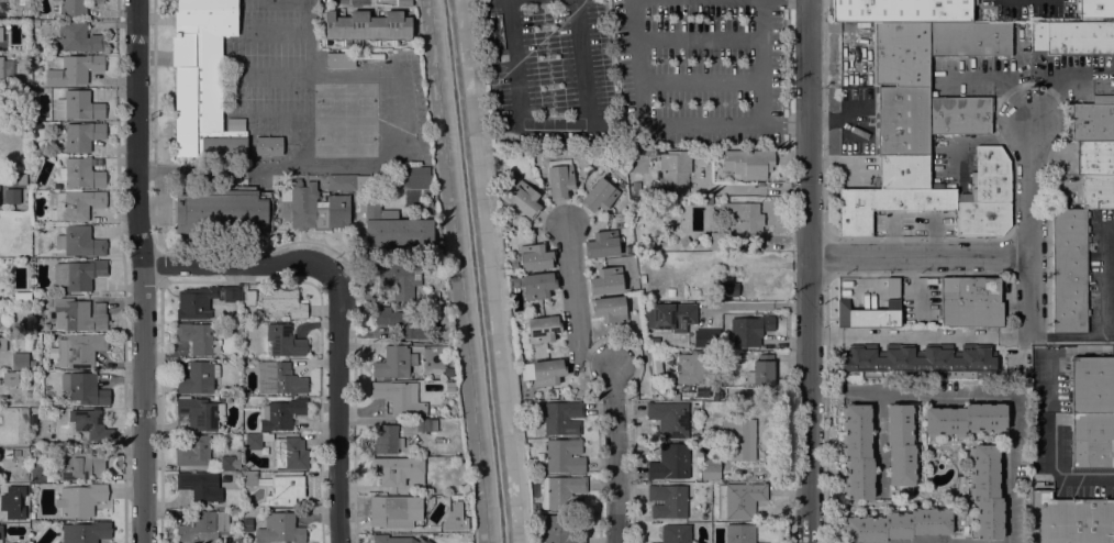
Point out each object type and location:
building: (21, 3)
building: (404, 3)
building: (75, 7)
parking lot: (1026, 8)
building: (1095, 9)
building: (901, 10)
building: (367, 26)
road: (153, 29)
road: (275, 30)
building: (1, 34)
building: (1072, 36)
building: (78, 37)
road: (699, 37)
building: (969, 38)
building: (902, 53)
road: (166, 58)
building: (342, 60)
road: (761, 63)
building: (74, 69)
building: (5, 70)
road: (307, 76)
road: (272, 78)
building: (204, 81)
road: (700, 81)
building: (79, 106)
building: (960, 115)
road: (644, 119)
building: (1093, 120)
building: (903, 121)
road: (279, 124)
road: (553, 126)
road: (784, 126)
building: (82, 136)
building: (268, 148)
building: (1094, 156)
building: (749, 163)
building: (675, 171)
building: (82, 173)
building: (904, 173)
building: (413, 178)
building: (560, 179)
building: (338, 182)
building: (360, 182)
building: (58, 187)
building: (1096, 190)
building: (430, 195)
building: (12, 196)
building: (600, 196)
building: (987, 197)
building: (27, 198)
building: (524, 199)
building: (701, 201)
building: (76, 204)
building: (887, 206)
building: (312, 208)
building: (224, 211)
building: (745, 219)
building: (393, 229)
road: (1028, 230)
building: (49, 235)
building: (80, 242)
building: (684, 242)
building: (718, 242)
building: (602, 245)
building: (535, 257)
road: (918, 258)
building: (513, 263)
road: (235, 266)
road: (141, 270)
road: (446, 270)
road: (501, 270)
road: (807, 271)
building: (1069, 271)
building: (79, 275)
building: (643, 279)
building: (3, 280)
building: (399, 281)
building: (608, 281)
building: (535, 285)
building: (892, 286)
building: (728, 289)
road: (575, 292)
building: (670, 292)
building: (697, 292)
building: (435, 297)
building: (35, 298)
building: (250, 298)
building: (205, 300)
building: (283, 301)
building: (970, 301)
building: (610, 310)
building: (843, 314)
building: (79, 315)
building: (669, 317)
building: (873, 319)
building: (402, 323)
building: (544, 329)
building: (749, 331)
road: (918, 336)
building: (198, 339)
building: (708, 339)
building: (285, 342)
building: (2, 344)
building: (78, 351)
building: (918, 358)
building: (21, 361)
road: (602, 361)
building: (392, 363)
building: (762, 370)
building: (694, 372)
building: (547, 373)
building: (10, 378)
building: (199, 378)
building: (279, 378)
building: (1089, 387)
building: (85, 389)
road: (826, 391)
road: (1003, 396)
building: (400, 398)
road: (336, 405)
building: (197, 414)
building: (281, 414)
building: (34, 418)
building: (561, 418)
building: (3, 419)
building: (669, 419)
building: (965, 420)
building: (92, 425)
building: (426, 425)
road: (878, 436)
building: (387, 440)
building: (254, 441)
building: (1093, 441)
building: (739, 444)
building: (901, 446)
building: (709, 447)
building: (193, 452)
building: (858, 452)
building: (290, 453)
building: (15, 454)
road: (616, 455)
building: (564, 456)
building: (226, 463)
building: (670, 463)
building: (81, 464)
building: (711, 466)
building: (40, 470)
building: (399, 470)
road: (1056, 476)
building: (249, 478)
building: (200, 487)
building: (283, 490)
building: (562, 492)
building: (987, 492)
building: (80, 500)
building: (739, 500)
building: (667, 501)
building: (535, 507)
building: (708, 508)
building: (393, 513)
building: (1071, 520)
building: (247, 525)
building: (896, 525)
building: (203, 527)
building: (280, 529)
building: (557, 531)
building: (1, 532)
building: (86, 532)
building: (676, 533)
building: (739, 533)
building: (396, 540)

